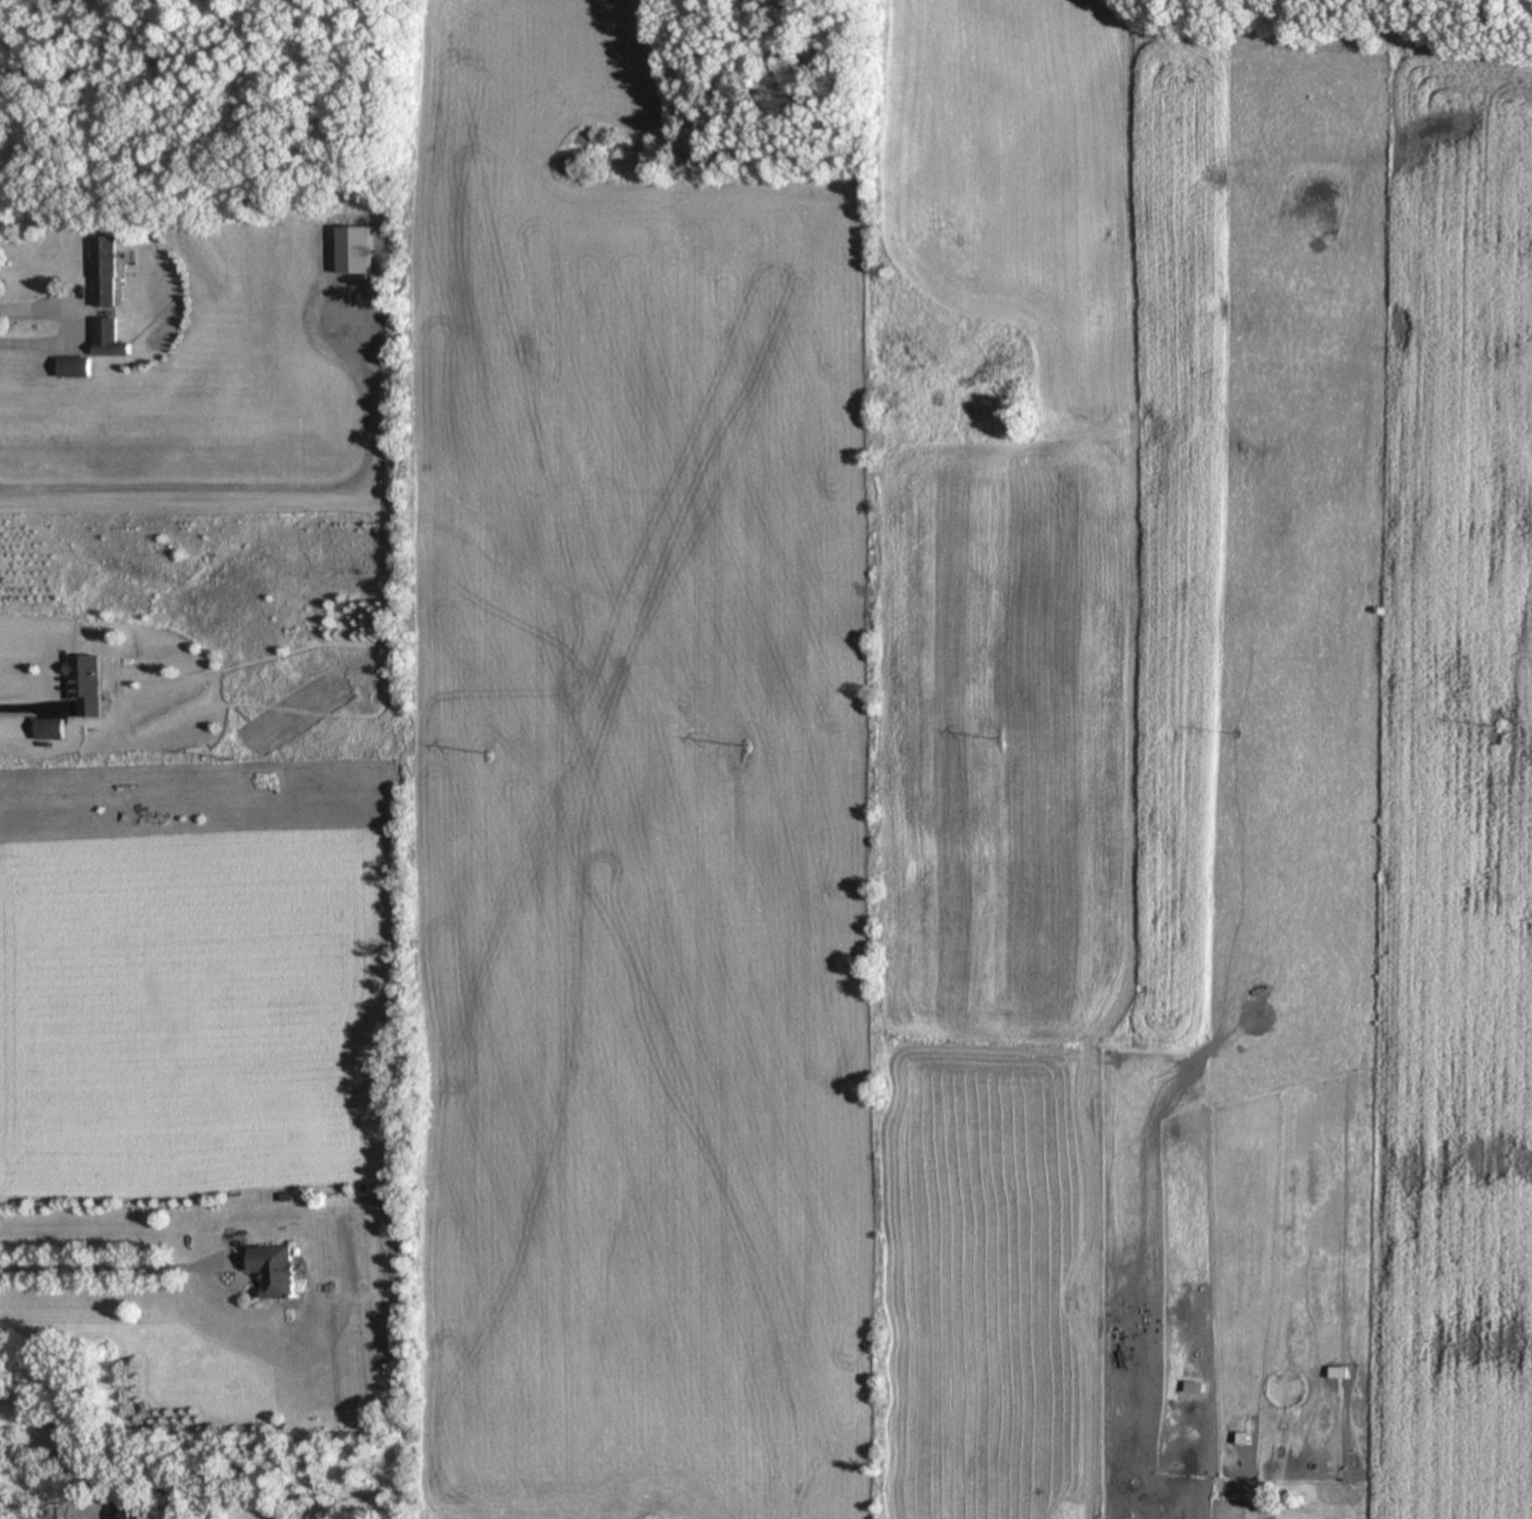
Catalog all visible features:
building: (355, 252)
building: (106, 273)
road: (69, 328)
building: (110, 341)
building: (79, 369)
road: (266, 488)
building: (89, 686)
road: (28, 707)
building: (50, 731)
road: (103, 1267)
building: (279, 1271)
building: (1334, 1374)
building: (1239, 1439)
building: (121, 1510)

